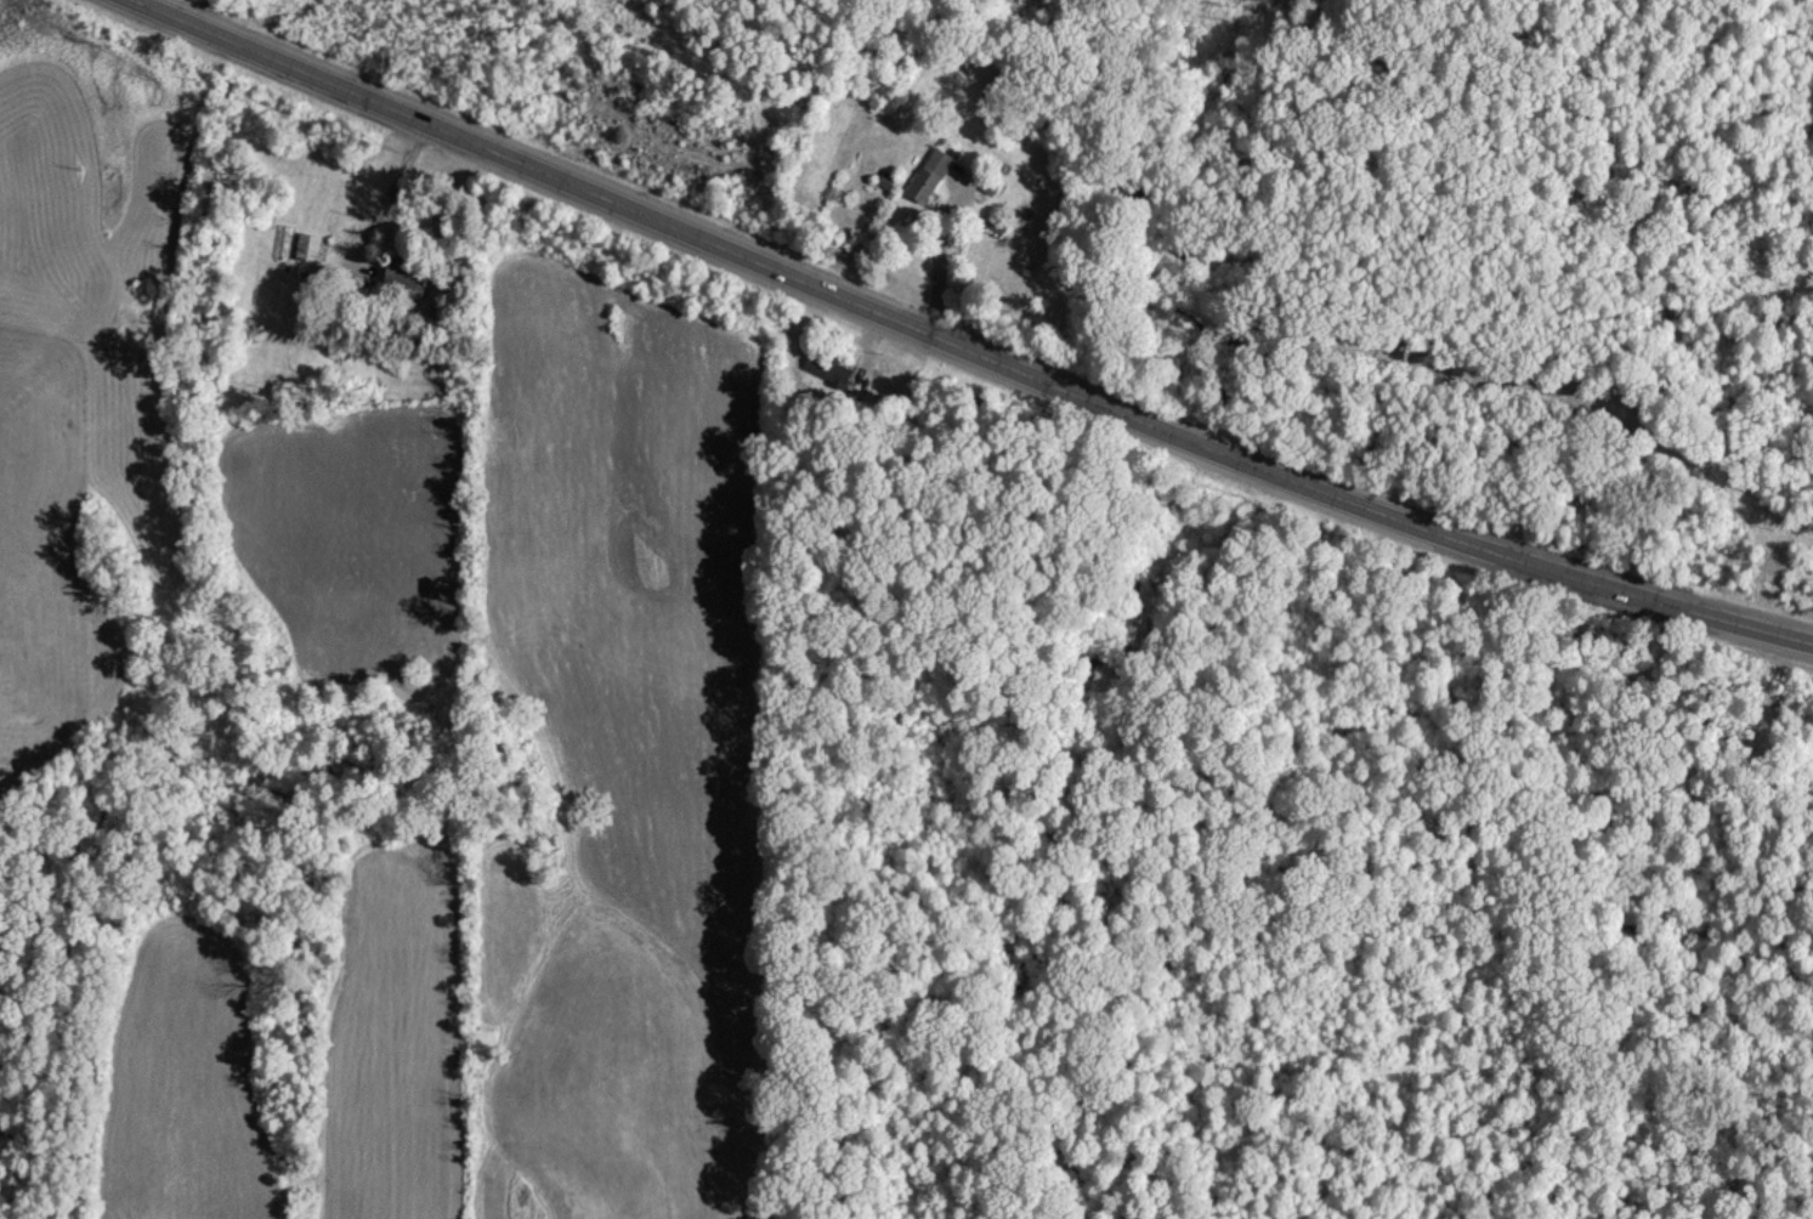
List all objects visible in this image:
river: (1046, 24)
building: (928, 175)
building: (885, 180)
road: (387, 195)
building: (306, 246)
road: (940, 266)
building: (404, 274)
road: (967, 347)
building: (827, 369)

